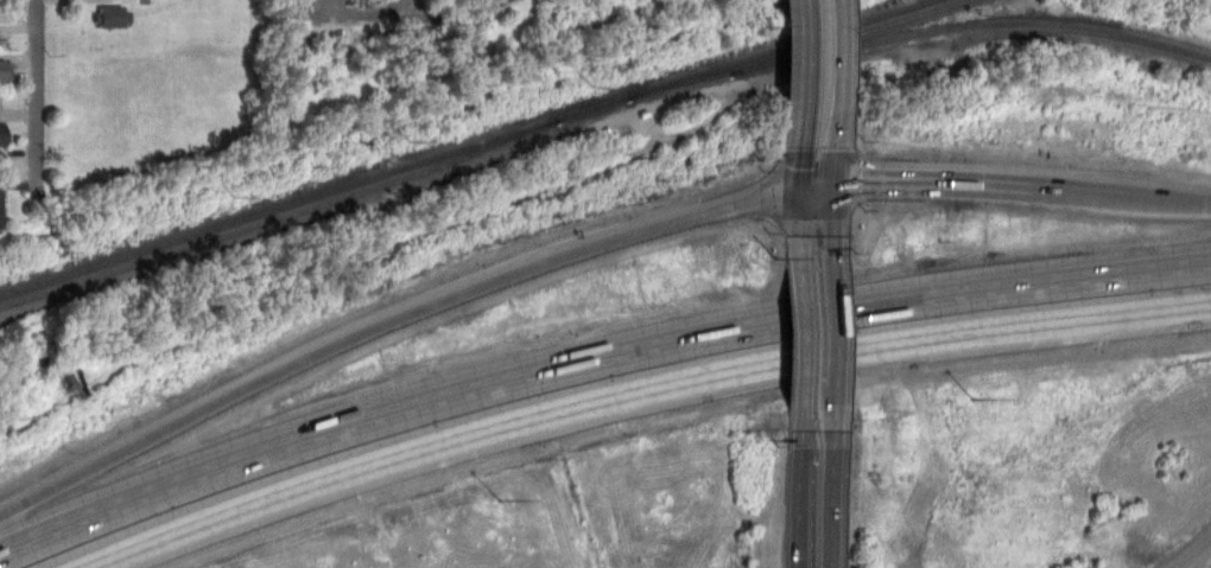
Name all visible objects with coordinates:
building: (112, 13)
railway: (875, 17)
railway: (970, 24)
railway: (845, 36)
road: (832, 55)
road: (800, 60)
railway: (724, 64)
building: (5, 69)
railway: (679, 83)
road: (37, 104)
railway: (592, 106)
building: (4, 133)
road: (833, 146)
road: (800, 154)
traffic signals: (800, 168)
traffic signals: (863, 181)
road: (931, 183)
road: (817, 185)
road: (1099, 196)
road: (1190, 203)
building: (0, 205)
railway: (278, 205)
road: (833, 213)
railway: (279, 215)
road: (803, 224)
traffic signals: (833, 250)
road: (832, 313)
road: (805, 315)
road: (388, 321)
road: (804, 334)
road: (831, 353)
road: (832, 394)
street lamp: (972, 397)
road: (803, 438)
road: (201, 472)
road: (831, 486)
street lamp: (497, 496)
road: (270, 497)
road: (800, 517)
road: (1191, 550)

